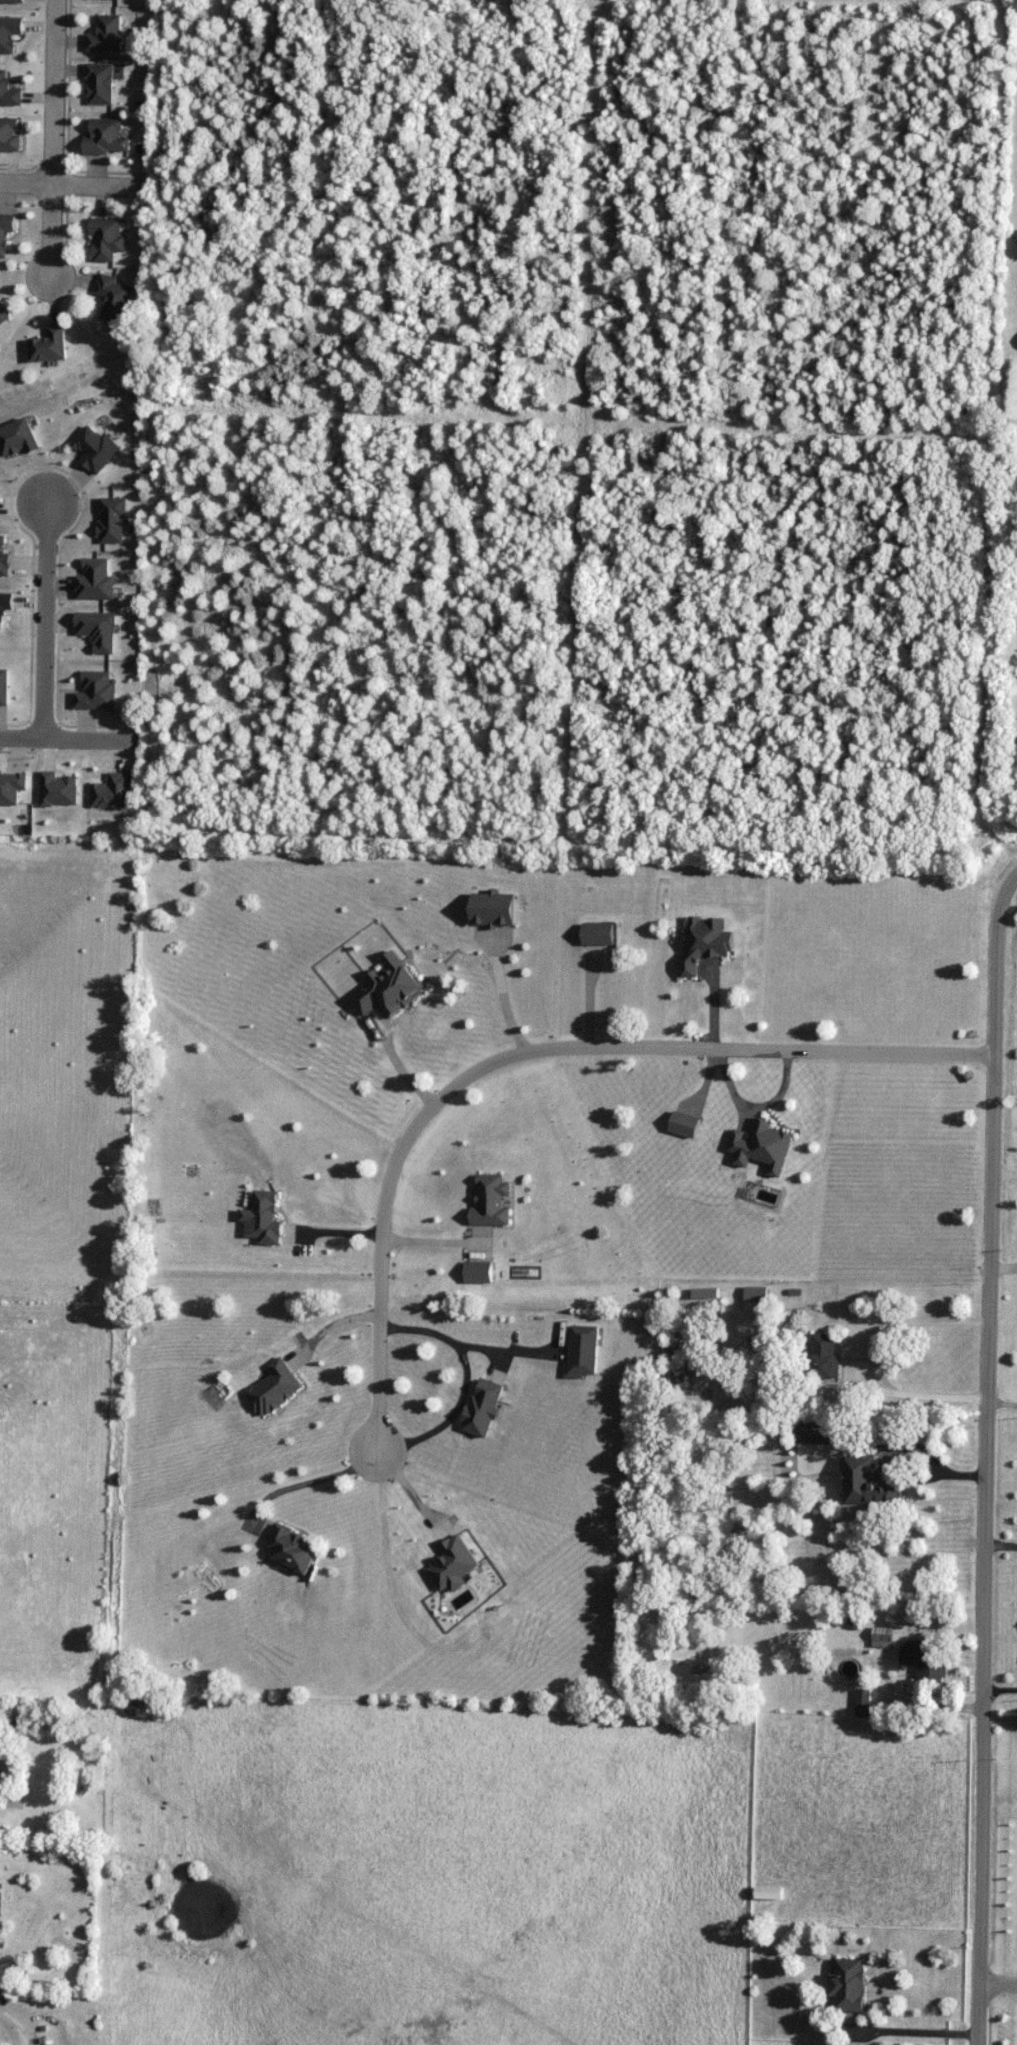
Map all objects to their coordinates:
building: (12, 1)
building: (9, 33)
building: (106, 35)
building: (99, 84)
building: (8, 91)
building: (10, 134)
building: (107, 138)
road: (53, 142)
road: (76, 185)
building: (6, 232)
building: (108, 239)
building: (116, 298)
building: (0, 318)
building: (50, 347)
road: (42, 611)
road: (64, 739)
building: (597, 940)
building: (695, 966)
road: (501, 995)
road: (522, 1049)
road: (993, 1142)
road: (1005, 1174)
building: (491, 1201)
road: (425, 1239)
building: (480, 1272)
building: (757, 1298)
road: (326, 1330)
building: (585, 1351)
building: (826, 1355)
road: (873, 1369)
road: (465, 1379)
building: (275, 1388)
building: (485, 1407)
road: (1003, 1411)
road: (310, 1481)
building: (869, 1483)
road: (409, 1489)
building: (293, 1549)
road: (1001, 1551)
building: (455, 1565)
building: (883, 1637)
building: (932, 1667)
road: (1000, 1695)
building: (863, 1704)
road: (984, 1727)
building: (769, 1894)
road: (998, 1985)
building: (848, 1987)
road: (902, 2038)
road: (4, 2039)

